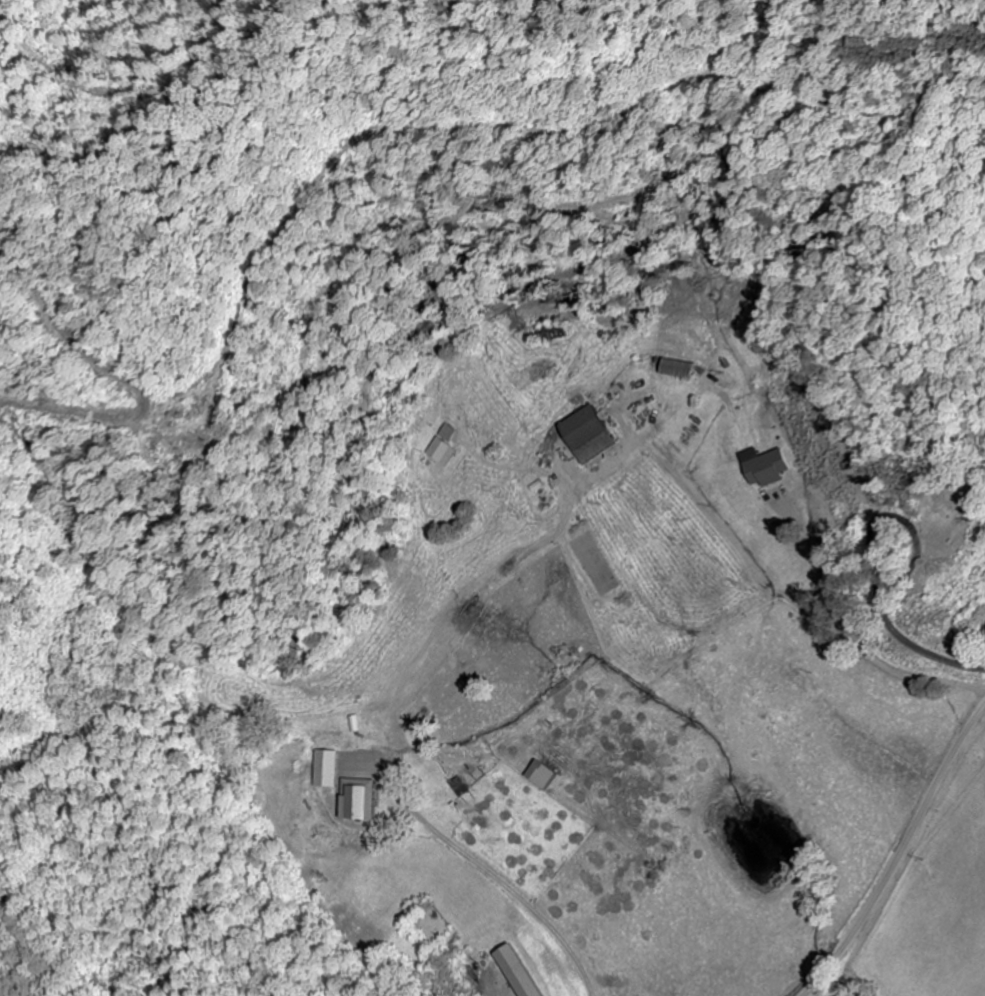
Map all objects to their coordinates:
building: (553, 333)
building: (592, 436)
building: (444, 447)
building: (769, 468)
building: (327, 770)
building: (546, 776)
building: (463, 788)
building: (360, 800)
road: (900, 854)
building: (523, 972)

